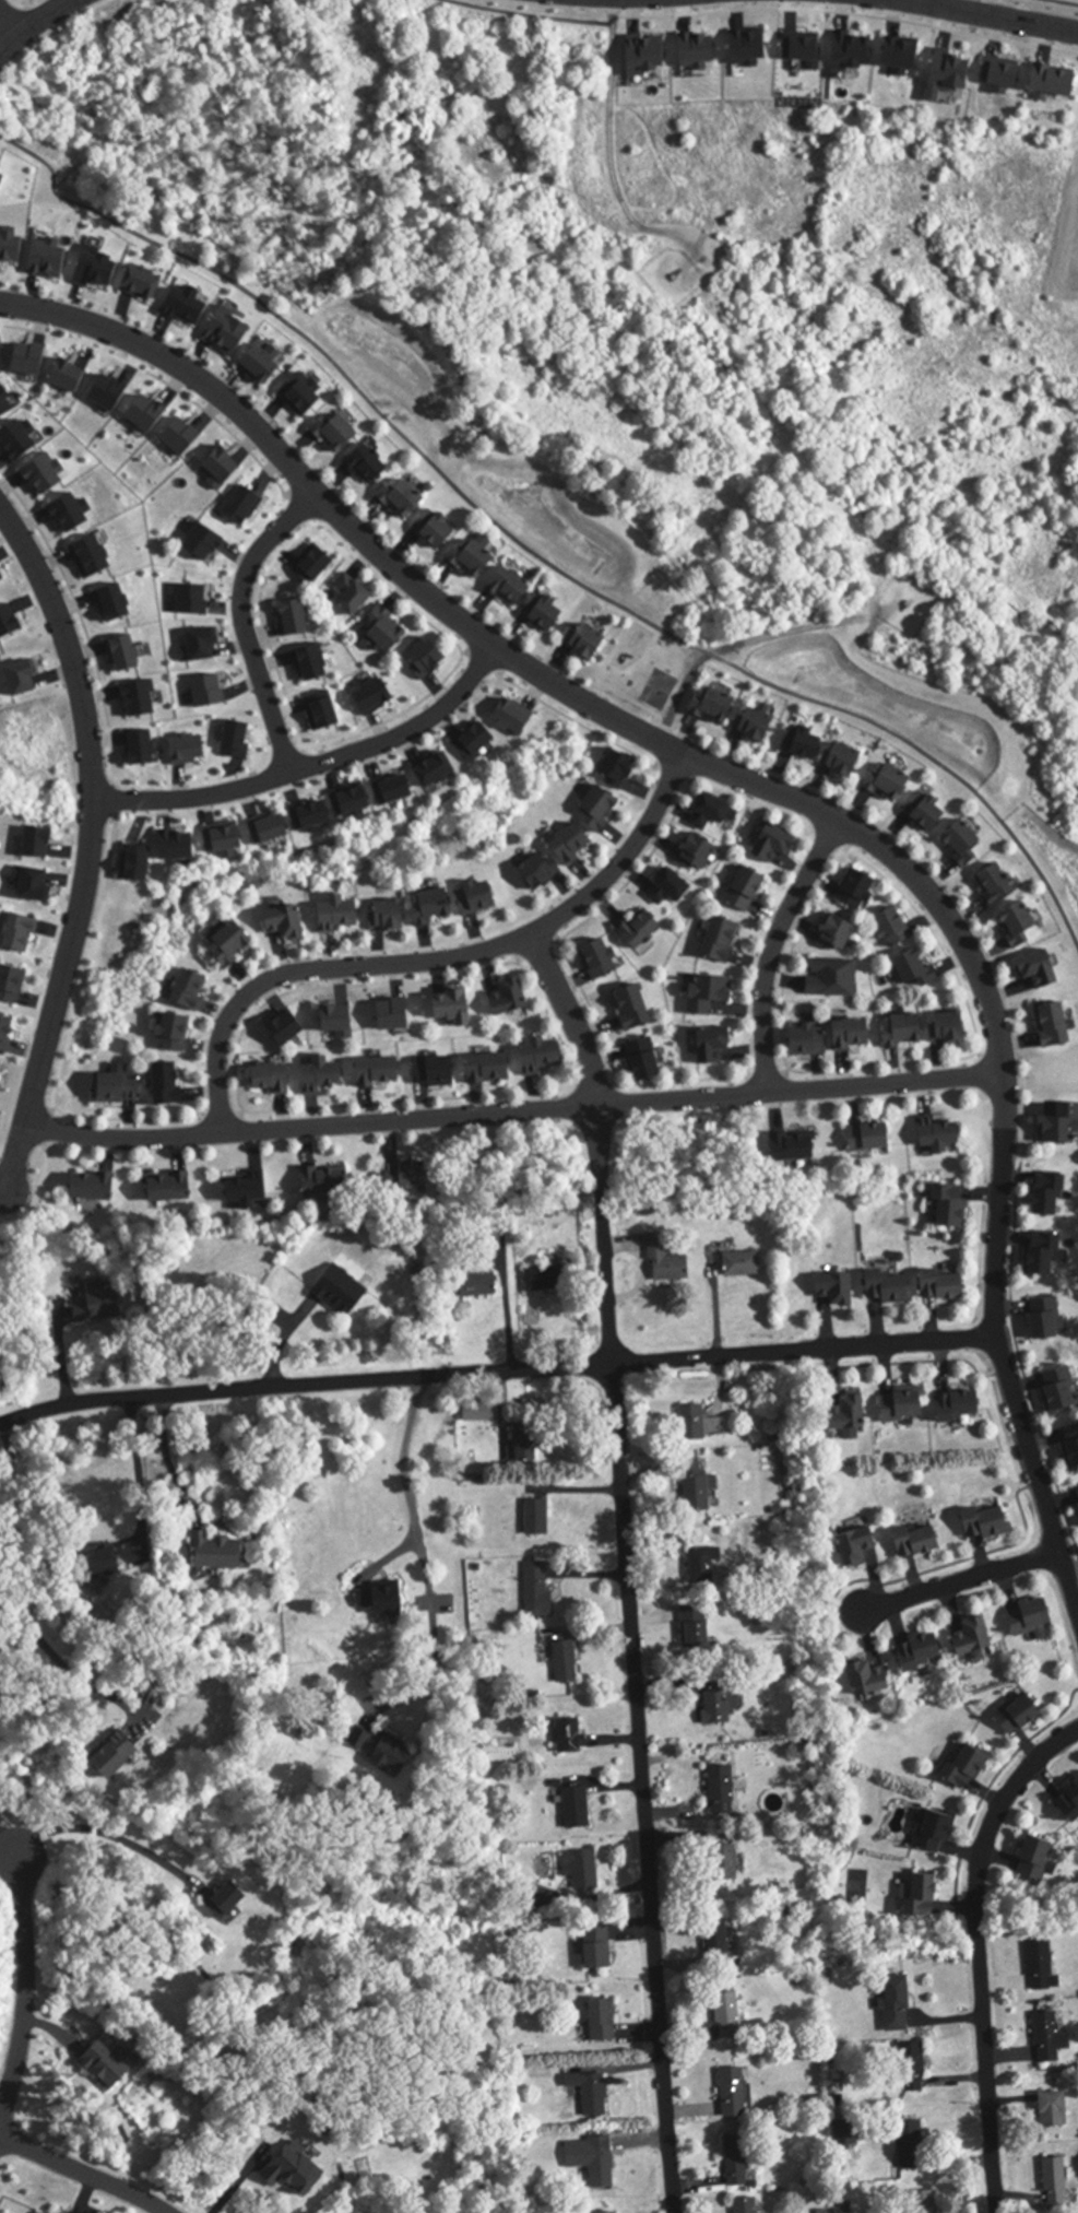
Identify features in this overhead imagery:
road: (1064, 2)
road: (849, 12)
road: (994, 13)
road: (11, 15)
road: (33, 23)
building: (1056, 78)
building: (187, 304)
road: (161, 381)
building: (336, 434)
building: (369, 464)
building: (404, 498)
road: (301, 508)
building: (437, 529)
building: (474, 560)
building: (511, 587)
building: (353, 593)
building: (544, 612)
road: (81, 617)
road: (246, 625)
building: (386, 632)
building: (587, 641)
road: (745, 643)
building: (429, 657)
park: (653, 679)
building: (716, 705)
building: (757, 726)
road: (369, 727)
building: (805, 743)
building: (844, 760)
building: (618, 766)
road: (316, 767)
building: (887, 786)
road: (777, 792)
building: (602, 808)
building: (715, 812)
building: (927, 812)
road: (827, 839)
building: (775, 843)
building: (966, 843)
building: (573, 844)
road: (88, 845)
building: (700, 851)
building: (540, 872)
building: (997, 885)
building: (671, 887)
building: (747, 890)
building: (857, 890)
building: (478, 898)
building: (436, 908)
building: (341, 915)
building: (389, 916)
road: (922, 919)
building: (287, 923)
building: (1021, 925)
road: (578, 926)
building: (895, 928)
building: (642, 929)
building: (840, 933)
building: (723, 940)
building: (233, 943)
road: (538, 950)
road: (773, 950)
building: (602, 958)
road: (437, 961)
building: (917, 968)
building: (1042, 969)
building: (834, 978)
building: (191, 990)
building: (711, 993)
building: (510, 998)
building: (636, 1007)
building: (455, 1009)
building: (1056, 1023)
building: (952, 1027)
building: (907, 1032)
building: (176, 1033)
building: (854, 1035)
road: (70, 1038)
building: (809, 1040)
building: (715, 1044)
building: (542, 1056)
building: (644, 1060)
building: (490, 1069)
building: (380, 1071)
building: (436, 1071)
road: (768, 1073)
road: (981, 1074)
building: (323, 1075)
building: (274, 1079)
building: (169, 1084)
road: (596, 1086)
building: (120, 1087)
road: (237, 1091)
road: (222, 1116)
road: (512, 1119)
road: (47, 1126)
building: (1062, 1126)
building: (943, 1133)
building: (872, 1138)
building: (794, 1146)
building: (408, 1176)
building: (325, 1180)
building: (94, 1187)
building: (170, 1188)
building: (250, 1191)
building: (1052, 1196)
building: (952, 1208)
building: (1047, 1255)
building: (666, 1261)
building: (744, 1264)
building: (546, 1280)
building: (479, 1285)
building: (945, 1286)
building: (839, 1288)
building: (891, 1288)
building: (343, 1290)
building: (98, 1308)
building: (1047, 1319)
road: (497, 1373)
building: (1061, 1393)
building: (962, 1405)
building: (905, 1408)
building: (851, 1414)
building: (697, 1424)
building: (1071, 1445)
building: (523, 1448)
road: (165, 1459)
road: (135, 1472)
building: (699, 1486)
building: (537, 1518)
building: (988, 1522)
building: (919, 1541)
building: (857, 1546)
building: (218, 1552)
road: (420, 1552)
building: (104, 1564)
building: (704, 1566)
road: (624, 1567)
road: (960, 1584)
road: (20, 1592)
building: (538, 1592)
building: (382, 1601)
building: (1033, 1620)
building: (696, 1628)
building: (973, 1638)
building: (921, 1652)
building: (567, 1663)
building: (870, 1679)
building: (718, 1707)
building: (1021, 1715)
building: (570, 1737)
building: (115, 1756)
building: (393, 1757)
building: (967, 1768)
building: (724, 1791)
building: (1070, 1804)
building: (577, 1809)
building: (937, 1833)
road: (106, 1835)
road: (9, 1843)
building: (1036, 1859)
building: (726, 1864)
building: (583, 1872)
building: (925, 1897)
building: (227, 1902)
building: (719, 1942)
building: (597, 1950)
road: (974, 1951)
building: (1043, 1966)
road: (24, 1984)
building: (899, 2004)
building: (728, 2017)
building: (603, 2022)
building: (1051, 2037)
building: (912, 2067)
building: (105, 2068)
building: (734, 2093)
building: (592, 2095)
road: (2, 2097)
building: (1055, 2108)
building: (911, 2138)
building: (737, 2159)
building: (594, 2161)
building: (294, 2173)
road: (87, 2174)
building: (1056, 2180)
building: (924, 2201)
building: (746, 2204)

